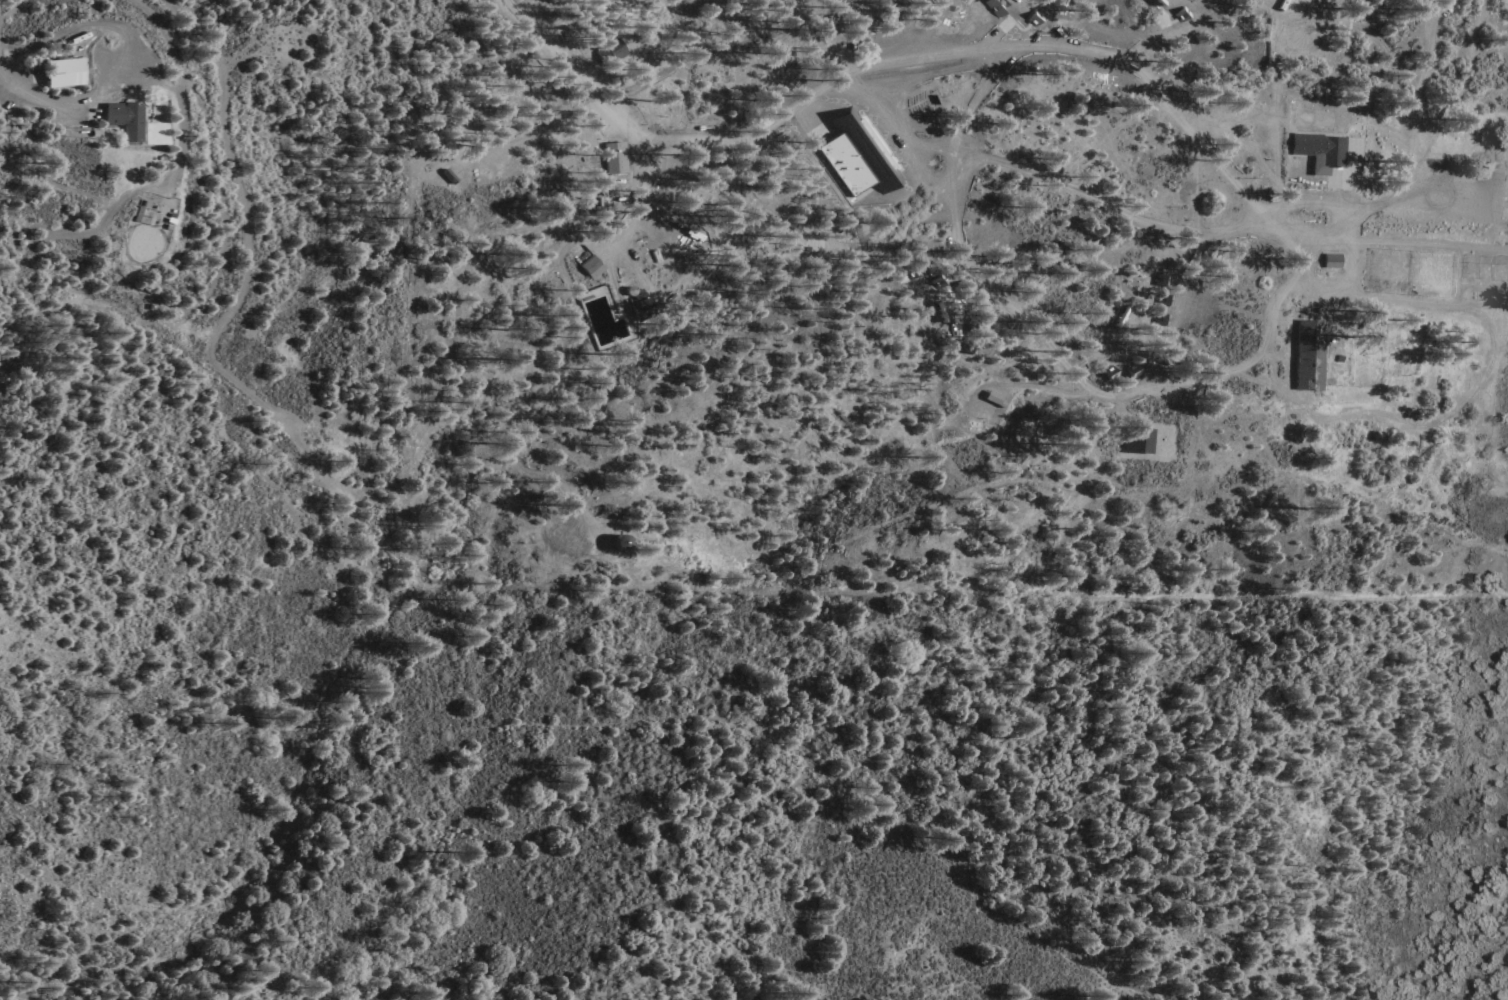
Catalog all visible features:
building: (996, 4)
building: (975, 6)
building: (1028, 10)
building: (931, 22)
building: (1298, 33)
building: (612, 48)
road: (177, 58)
building: (67, 72)
road: (36, 100)
building: (126, 121)
road: (899, 142)
building: (1317, 147)
building: (615, 155)
road: (245, 218)
road: (1422, 229)
building: (1328, 261)
building: (592, 265)
building: (1308, 355)
building: (993, 395)
building: (1136, 442)

